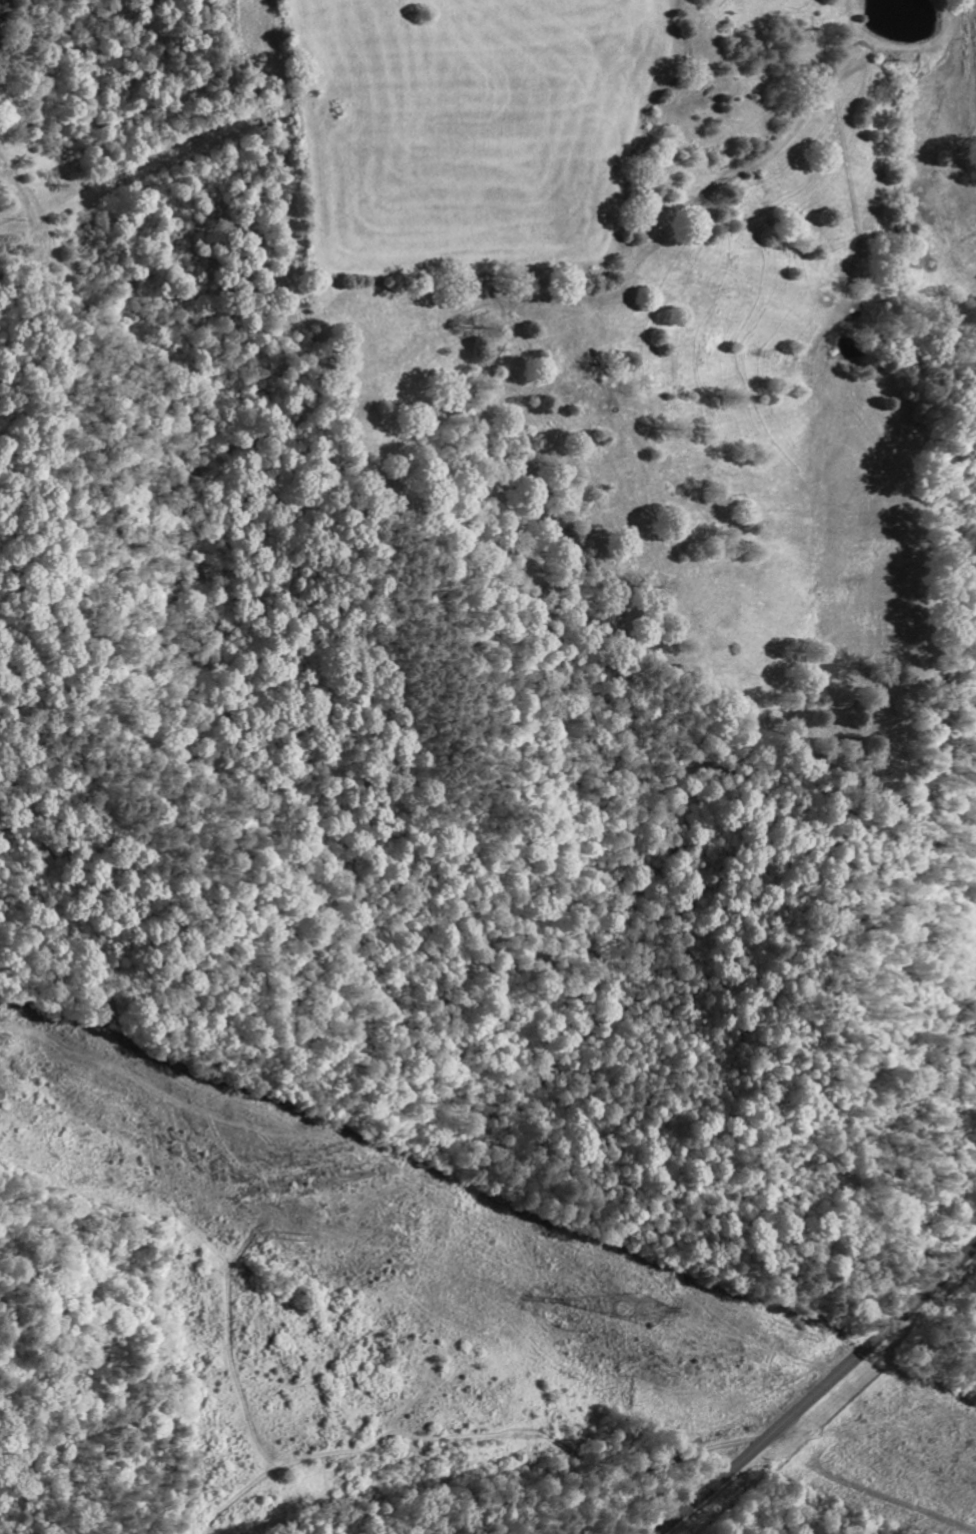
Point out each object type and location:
power tower: (643, 1306)
road: (817, 1391)

